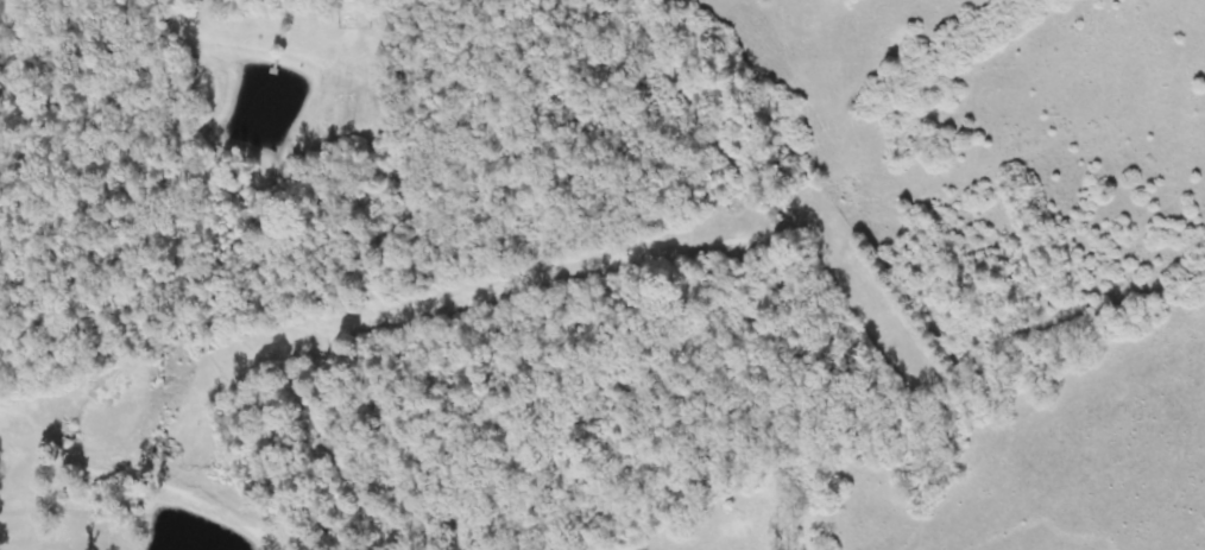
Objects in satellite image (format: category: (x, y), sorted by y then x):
road: (1188, 486)

